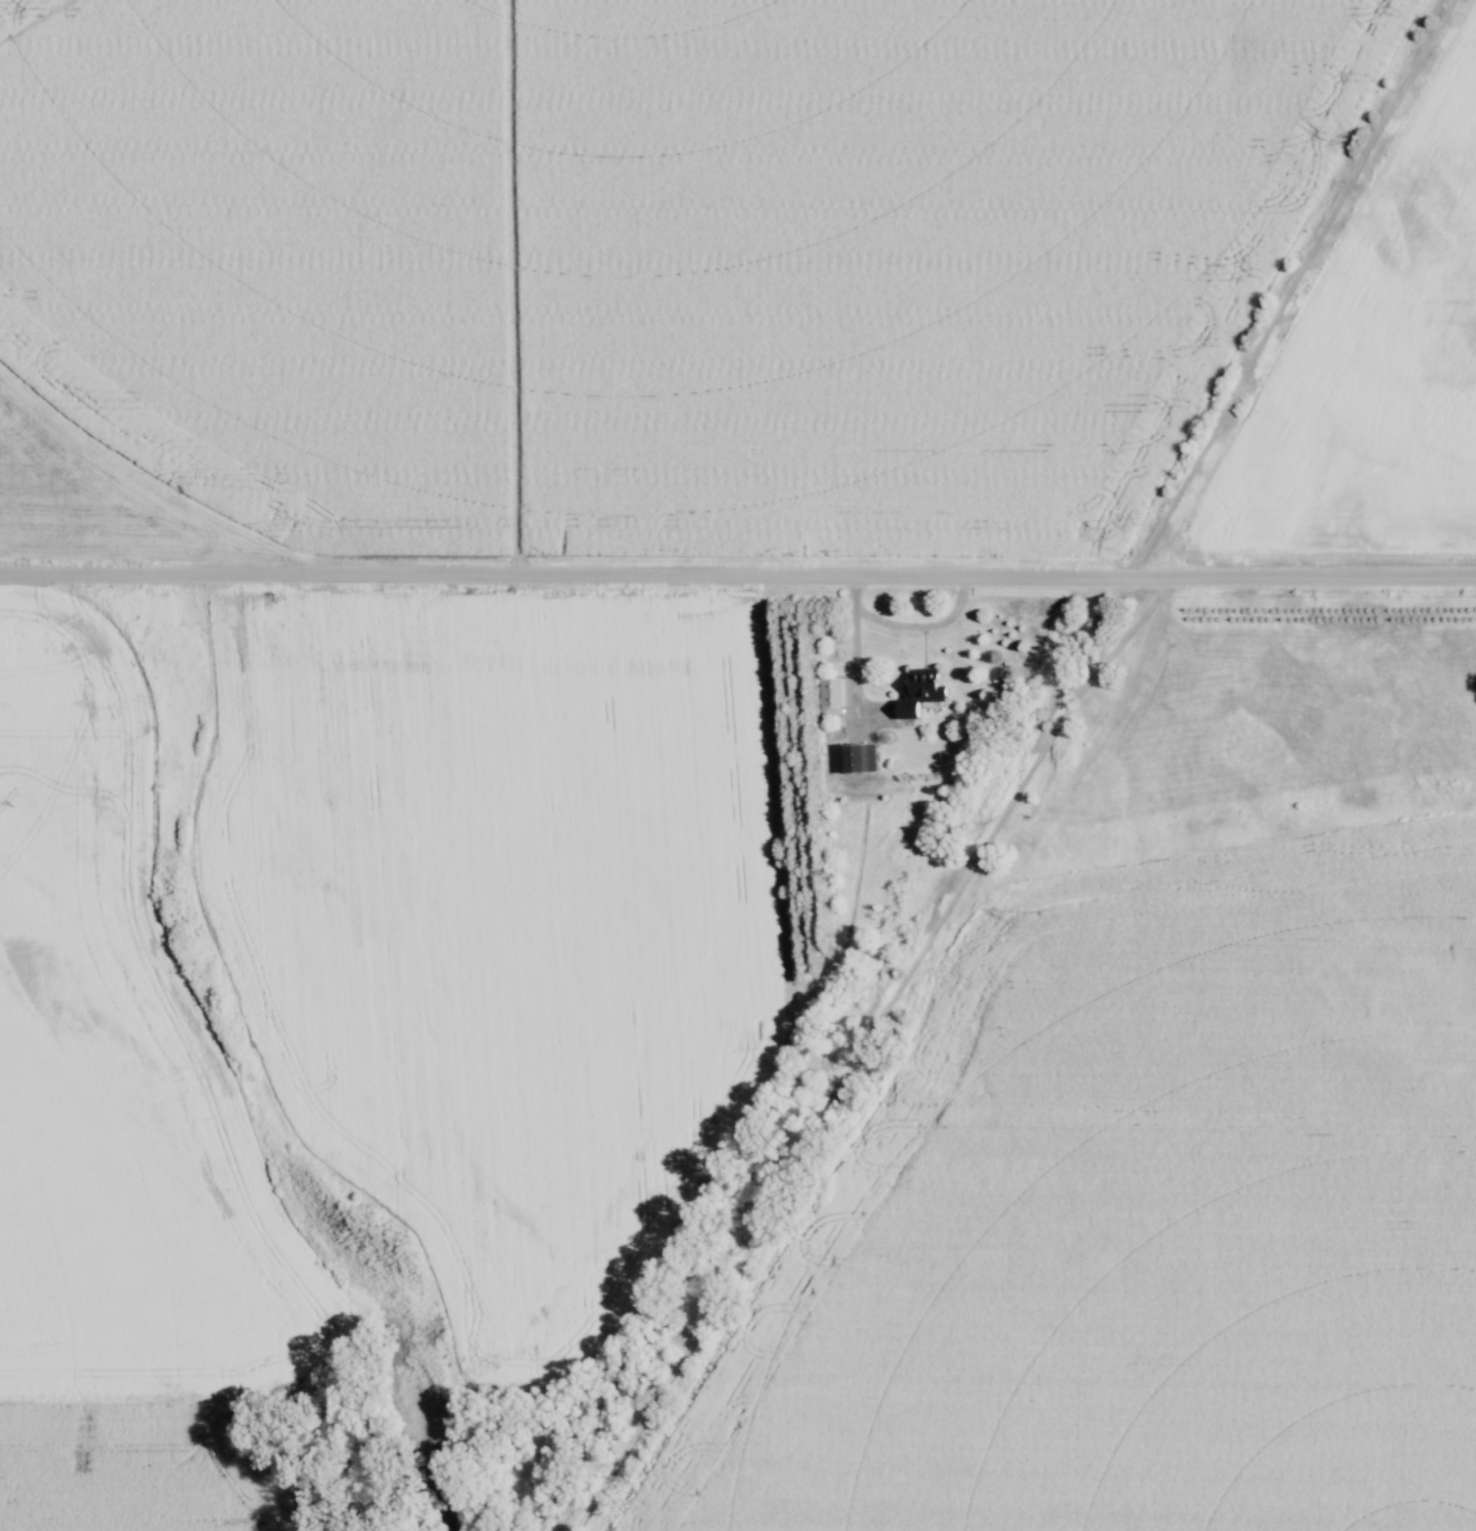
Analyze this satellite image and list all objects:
road: (738, 576)
building: (917, 689)
building: (854, 756)

